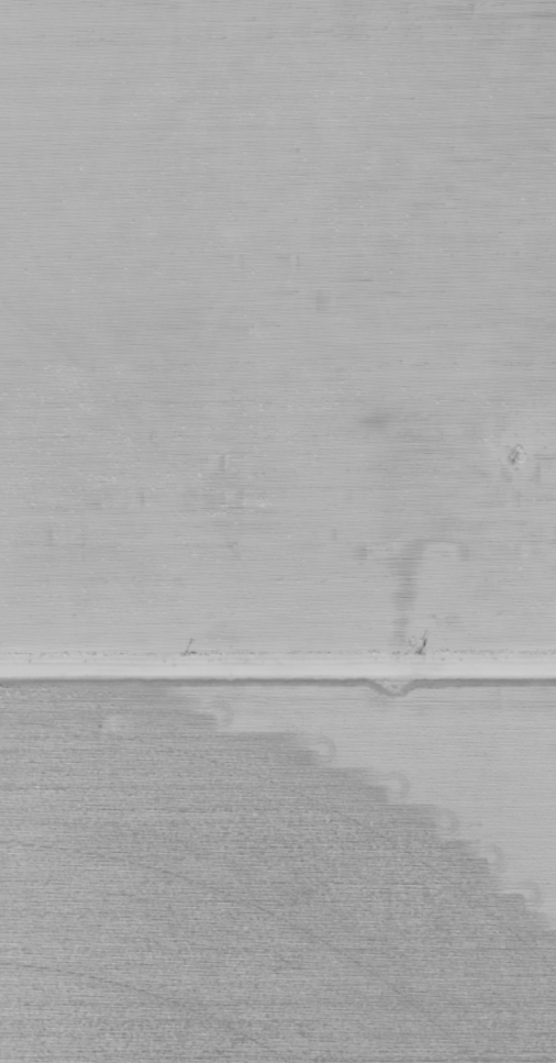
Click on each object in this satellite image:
road: (278, 674)

